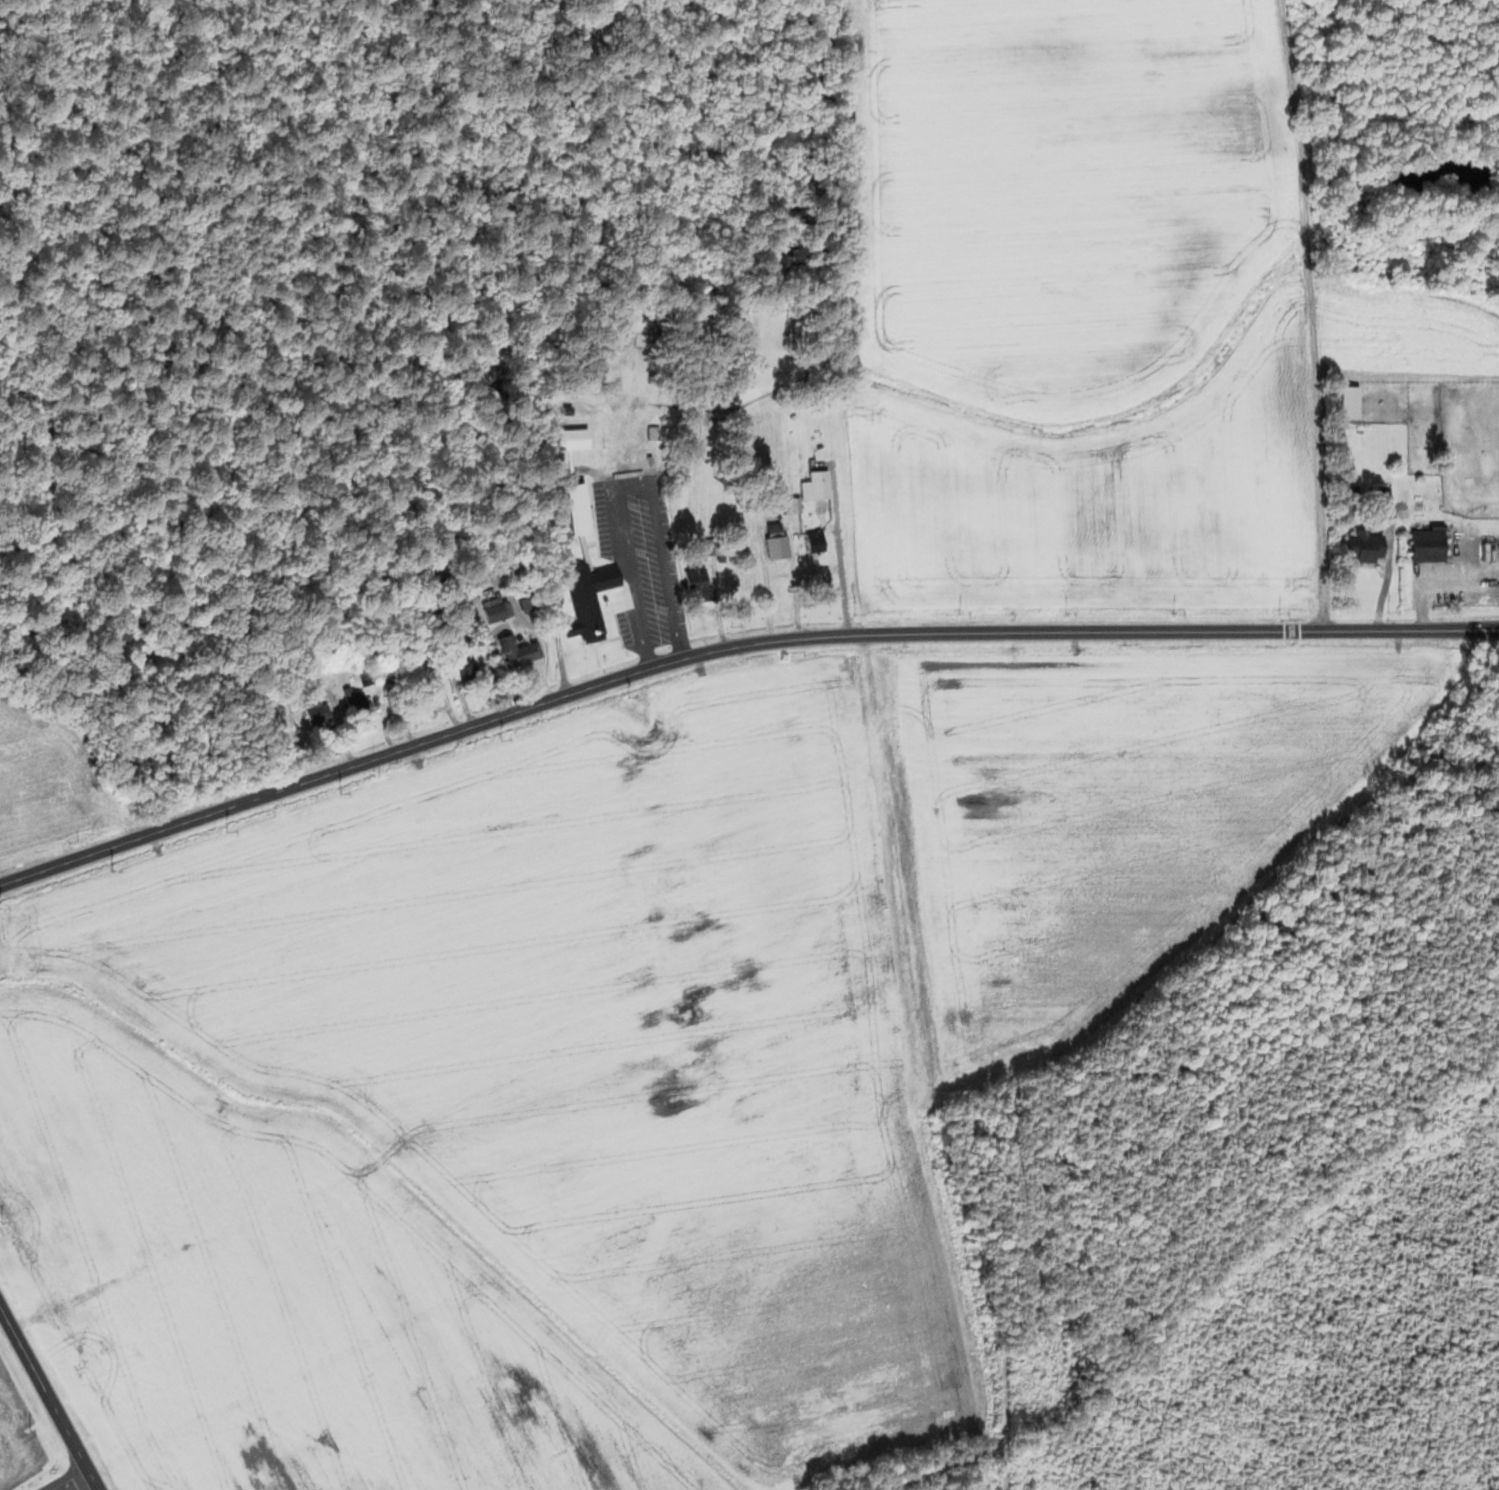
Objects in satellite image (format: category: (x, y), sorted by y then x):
road: (1306, 314)
road: (626, 484)
building: (812, 484)
building: (1377, 497)
building: (1432, 516)
building: (811, 540)
building: (772, 541)
building: (1360, 546)
building: (579, 567)
road: (837, 568)
building: (693, 582)
building: (664, 583)
building: (490, 612)
road: (731, 646)
building: (513, 650)
building: (463, 667)
building: (352, 697)
building: (310, 706)
road: (48, 1396)
road: (72, 1481)

